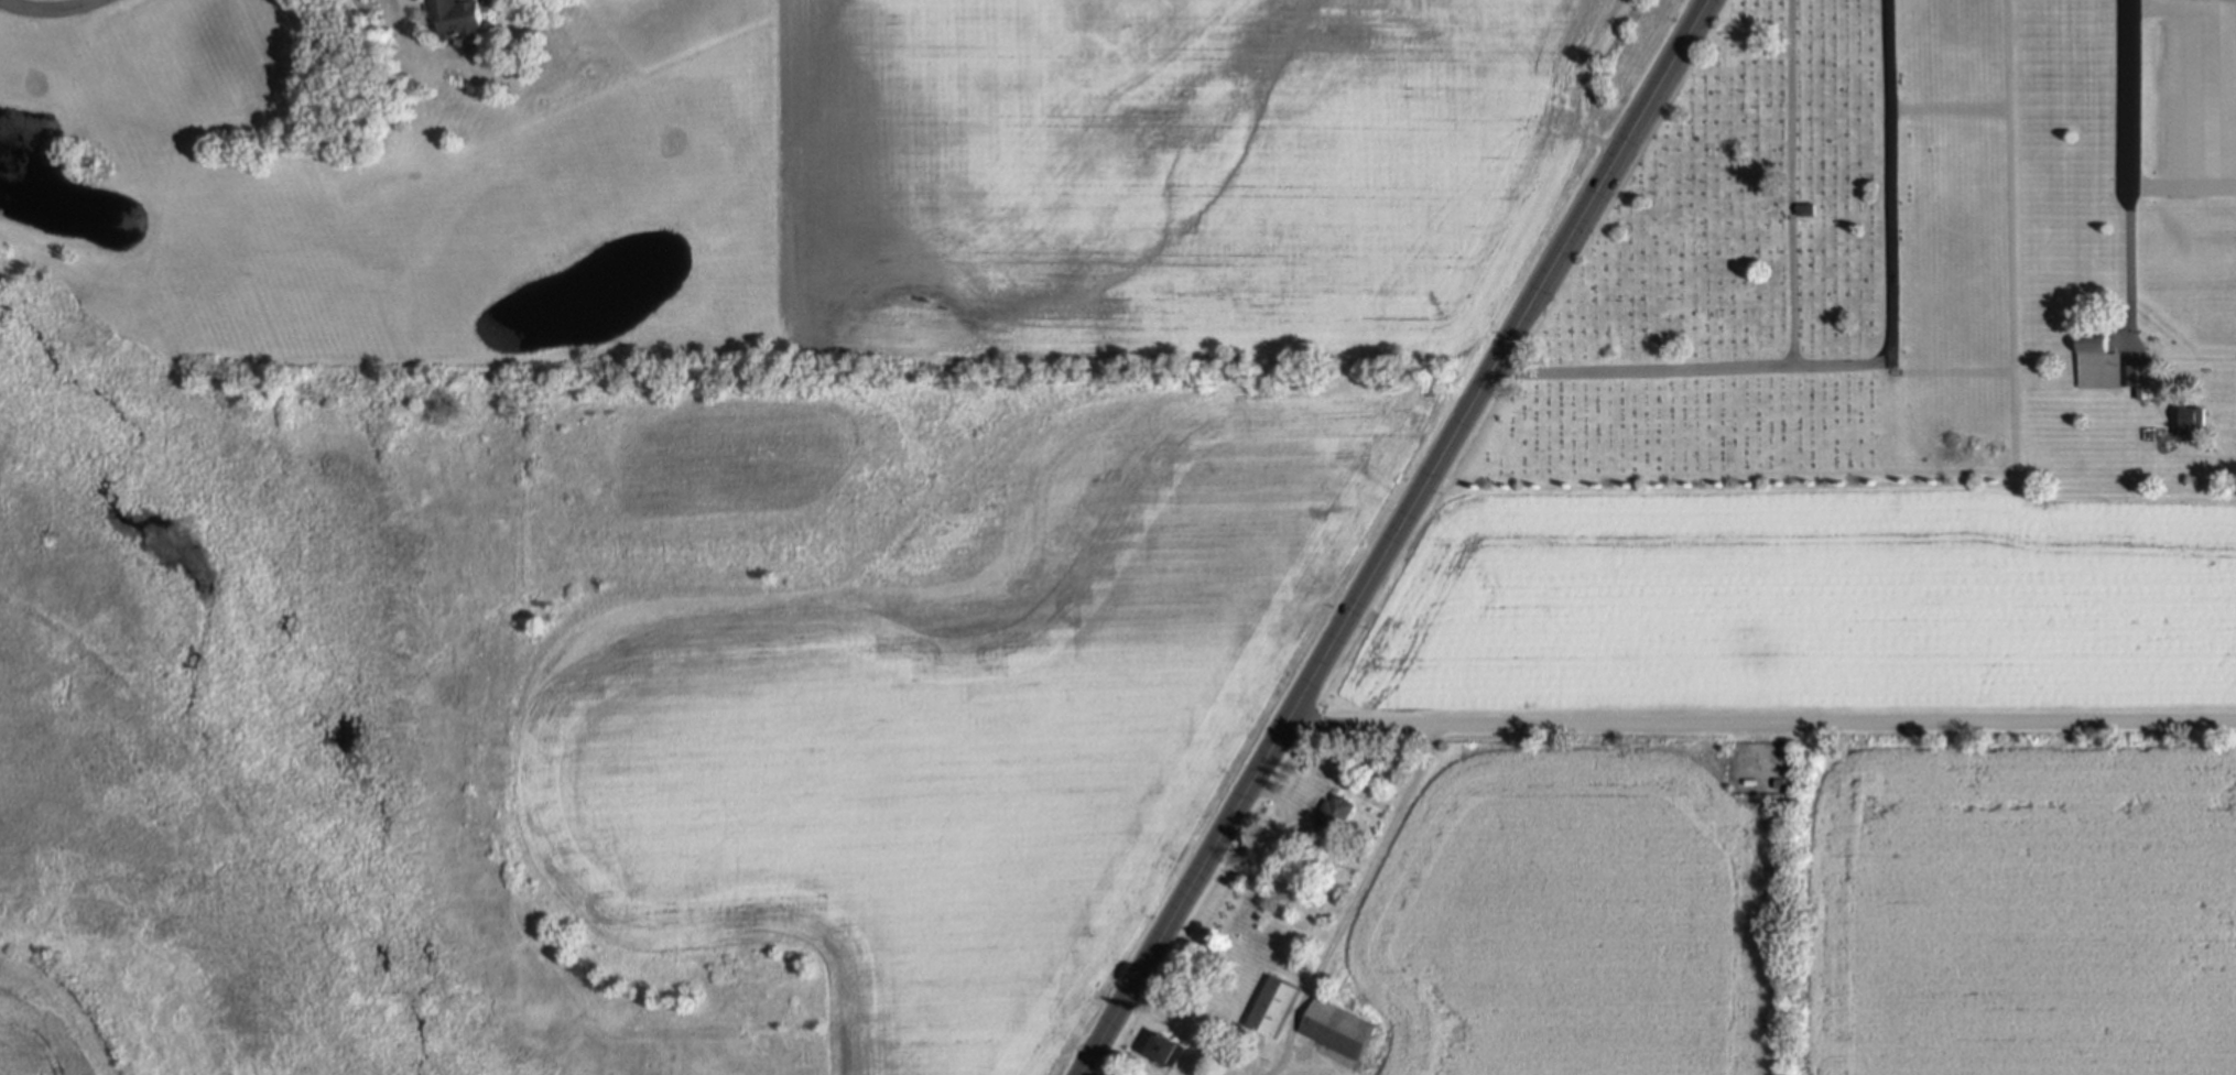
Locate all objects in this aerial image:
road: (48, 10)
building: (462, 18)
building: (2230, 37)
road: (1946, 111)
road: (2128, 163)
road: (1889, 182)
road: (1792, 183)
building: (1809, 209)
road: (2007, 237)
park: (1790, 267)
road: (1538, 286)
building: (2097, 363)
road: (1689, 368)
road: (1946, 373)
building: (2129, 374)
building: (2193, 421)
road: (1758, 724)
road: (1279, 804)
building: (1334, 815)
road: (1225, 824)
road: (1354, 899)
building: (1323, 987)
building: (1270, 1006)
building: (1337, 1028)
building: (1165, 1045)
road: (1089, 1071)

